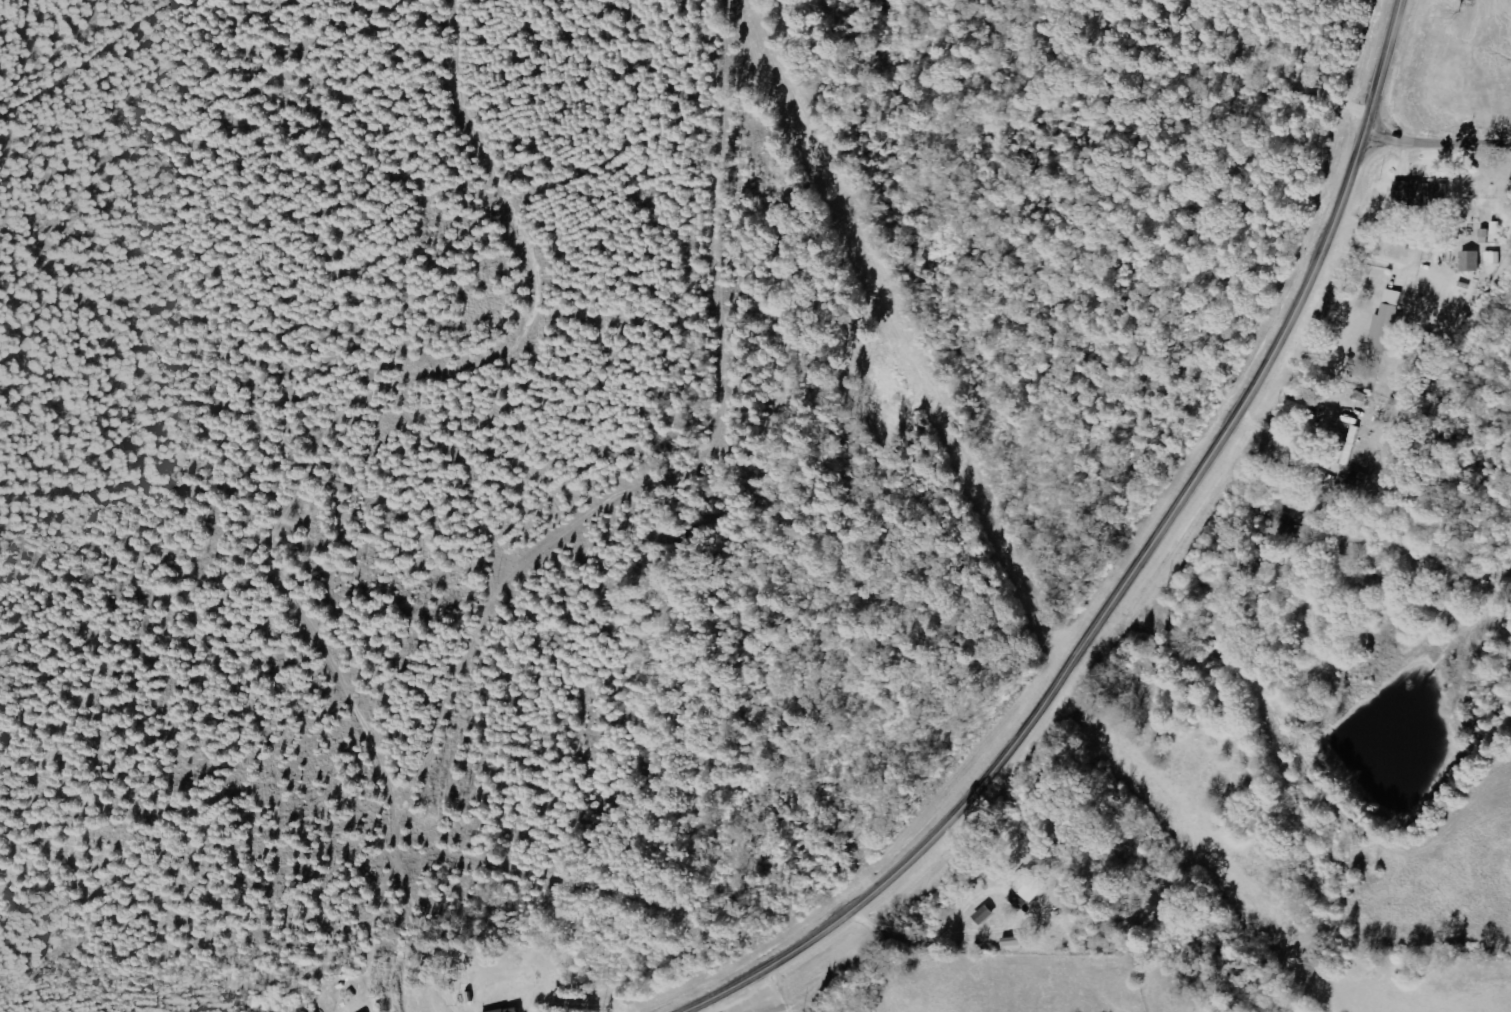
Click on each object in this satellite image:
road: (1437, 145)
building: (1422, 192)
building: (1494, 258)
building: (1471, 261)
road: (577, 515)
road: (1133, 570)
building: (1234, 631)
building: (1029, 889)
building: (512, 1010)

